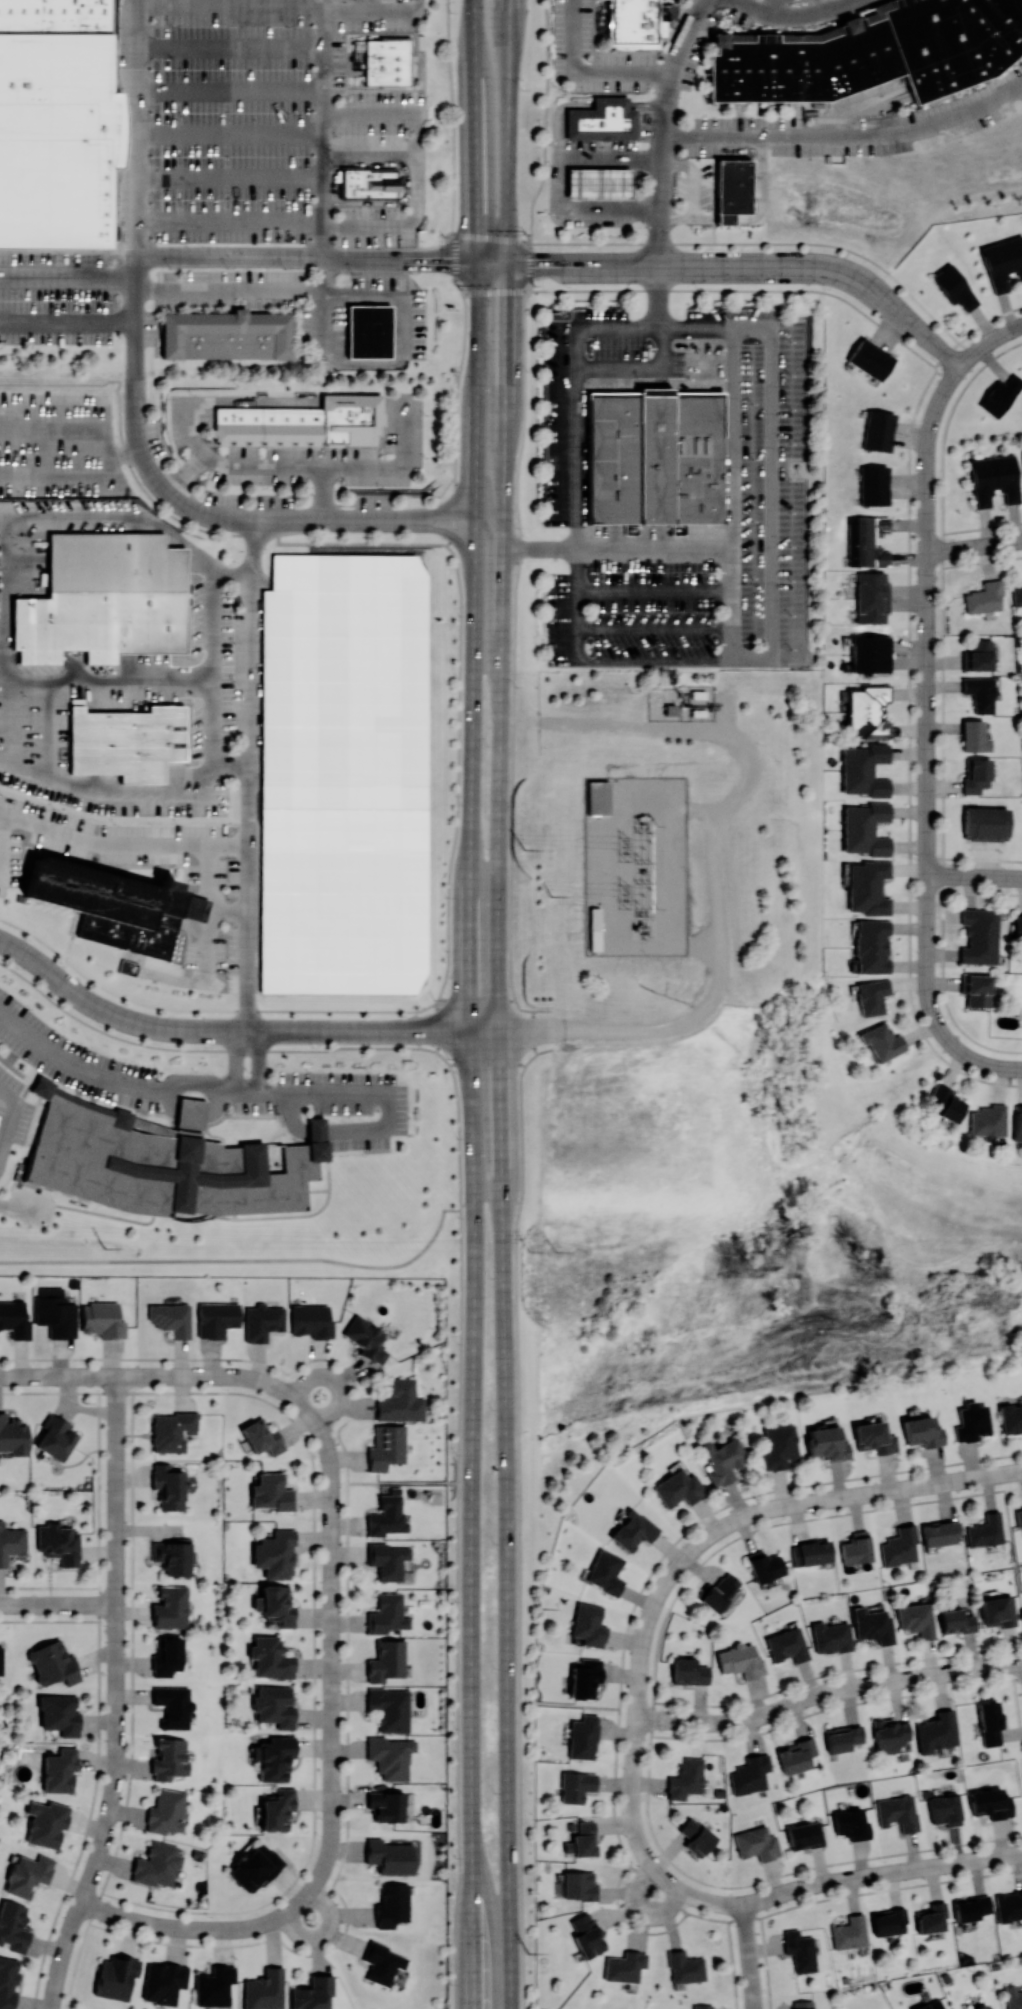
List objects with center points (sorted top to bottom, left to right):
road: (858, 1)
road: (369, 2)
road: (254, 3)
road: (396, 5)
road: (819, 8)
road: (777, 11)
building: (57, 15)
building: (635, 23)
road: (796, 23)
road: (229, 45)
building: (870, 51)
building: (386, 61)
road: (586, 70)
road: (229, 86)
road: (612, 104)
road: (649, 105)
road: (557, 115)
building: (603, 122)
road: (136, 127)
road: (323, 128)
road: (476, 130)
road: (849, 130)
road: (229, 132)
building: (59, 137)
road: (544, 145)
road: (369, 153)
road: (229, 178)
road: (695, 178)
road: (556, 180)
gas station: (599, 180)
building: (579, 181)
building: (368, 182)
building: (738, 186)
road: (754, 219)
road: (376, 220)
road: (660, 224)
road: (556, 241)
road: (306, 257)
traffic signals: (477, 262)
road: (484, 262)
traffic signals: (507, 262)
road: (517, 262)
road: (684, 263)
building: (1000, 263)
road: (455, 269)
road: (68, 275)
road: (850, 276)
building: (954, 287)
road: (592, 289)
road: (388, 291)
road: (67, 321)
road: (768, 327)
building: (371, 329)
road: (918, 329)
building: (231, 336)
road: (990, 342)
building: (870, 358)
building: (1000, 394)
road: (941, 400)
building: (308, 424)
building: (877, 430)
road: (197, 451)
building: (657, 459)
road: (335, 465)
road: (74, 473)
road: (928, 474)
building: (994, 479)
building: (873, 485)
road: (168, 492)
road: (322, 492)
road: (730, 492)
road: (136, 516)
road: (441, 519)
road: (182, 521)
road: (451, 533)
building: (866, 540)
road: (928, 540)
road: (616, 546)
road: (975, 546)
road: (655, 587)
building: (1017, 594)
building: (871, 596)
building: (984, 597)
building: (105, 598)
road: (928, 598)
road: (490, 605)
road: (514, 612)
road: (655, 628)
building: (870, 653)
road: (928, 654)
building: (978, 655)
road: (215, 668)
road: (71, 678)
building: (980, 693)
building: (868, 711)
road: (928, 711)
road: (682, 727)
building: (976, 735)
building: (127, 741)
building: (864, 769)
road: (927, 770)
road: (252, 774)
building: (346, 774)
building: (977, 775)
road: (126, 785)
building: (600, 797)
road: (703, 807)
road: (458, 808)
road: (1, 811)
building: (985, 823)
building: (865, 828)
road: (927, 828)
road: (1, 842)
road: (124, 843)
power tower: (623, 847)
power tower: (524, 848)
road: (975, 858)
power substation: (636, 864)
road: (928, 865)
road: (969, 876)
road: (1016, 878)
road: (203, 887)
building: (868, 887)
road: (213, 892)
road: (975, 892)
power tower: (623, 894)
power tower: (550, 895)
road: (928, 896)
building: (110, 904)
building: (192, 905)
road: (194, 906)
building: (1018, 925)
road: (199, 926)
building: (594, 927)
building: (980, 936)
road: (928, 943)
building: (872, 946)
road: (928, 972)
road: (205, 975)
building: (976, 989)
building: (871, 996)
road: (496, 999)
road: (499, 1004)
road: (930, 1005)
road: (700, 1012)
road: (237, 1030)
road: (529, 1031)
road: (947, 1038)
road: (247, 1039)
building: (882, 1041)
road: (984, 1063)
road: (114, 1076)
road: (246, 1080)
road: (352, 1090)
building: (944, 1103)
road: (290, 1114)
road: (11, 1117)
building: (988, 1120)
building: (1017, 1122)
road: (317, 1131)
road: (473, 1135)
building: (164, 1162)
road: (17, 1209)
park: (739, 1230)
power tower: (105, 1247)
power tower: (529, 1249)
power tower: (556, 1250)
road: (370, 1265)
building: (55, 1312)
building: (15, 1318)
building: (171, 1318)
building: (217, 1318)
building: (102, 1319)
building: (312, 1320)
building: (262, 1321)
building: (367, 1338)
road: (158, 1375)
road: (335, 1380)
building: (400, 1401)
building: (1011, 1418)
building: (972, 1421)
building: (172, 1431)
building: (922, 1431)
building: (13, 1436)
building: (262, 1436)
building: (56, 1437)
building: (874, 1437)
building: (827, 1443)
building: (779, 1445)
building: (387, 1447)
building: (723, 1460)
road: (402, 1482)
building: (169, 1487)
road: (1013, 1487)
building: (679, 1488)
building: (271, 1492)
road: (851, 1492)
building: (388, 1516)
building: (1019, 1516)
building: (633, 1530)
building: (986, 1530)
building: (942, 1533)
road: (518, 1535)
building: (11, 1542)
building: (59, 1543)
building: (900, 1546)
building: (856, 1547)
building: (811, 1552)
building: (275, 1554)
building: (173, 1555)
building: (388, 1560)
building: (764, 1565)
building: (605, 1571)
building: (718, 1591)
road: (58, 1604)
building: (276, 1604)
road: (347, 1604)
building: (171, 1607)
road: (456, 1608)
power tower: (541, 1608)
building: (997, 1611)
building: (387, 1613)
building: (916, 1619)
building: (956, 1620)
building: (588, 1624)
building: (872, 1625)
building: (831, 1636)
building: (787, 1644)
building: (167, 1656)
road: (332, 1657)
building: (270, 1658)
building: (1, 1660)
building: (387, 1660)
building: (740, 1660)
building: (52, 1663)
road: (654, 1669)
road: (835, 1670)
building: (689, 1671)
building: (585, 1677)
road: (870, 1681)
road: (117, 1696)
road: (569, 1704)
building: (274, 1705)
building: (173, 1706)
road: (835, 1706)
building: (391, 1707)
road: (1017, 1712)
building: (59, 1714)
road: (672, 1716)
road: (716, 1719)
building: (989, 1722)
building: (936, 1731)
building: (889, 1734)
building: (583, 1737)
building: (843, 1737)
road: (632, 1751)
road: (616, 1752)
building: (796, 1754)
building: (391, 1756)
building: (274, 1757)
building: (169, 1758)
building: (60, 1770)
building: (750, 1774)
building: (686, 1778)
building: (576, 1785)
building: (991, 1802)
building: (386, 1805)
building: (408, 1806)
building: (277, 1808)
building: (945, 1809)
building: (167, 1811)
building: (898, 1812)
building: (46, 1822)
building: (851, 1823)
building: (804, 1834)
building: (696, 1836)
building: (582, 1840)
building: (756, 1843)
building: (390, 1856)
building: (158, 1865)
building: (255, 1866)
road: (918, 1866)
building: (28, 1874)
road: (804, 1883)
building: (577, 1885)
road: (768, 1893)
building: (392, 1904)
building: (1008, 1905)
building: (970, 1907)
road: (642, 1911)
building: (931, 1917)
building: (888, 1920)
building: (13, 1926)
road: (191, 1928)
building: (850, 1932)
road: (324, 1933)
building: (586, 1934)
road: (748, 1947)
building: (800, 1950)
power tower: (528, 1952)
building: (383, 1962)
road: (765, 1962)
road: (732, 1965)
building: (624, 1966)
building: (685, 1967)
building: (114, 1977)
building: (7, 1981)
building: (164, 1982)
building: (214, 1985)
building: (264, 1990)
building: (312, 1992)
building: (1013, 1997)
road: (753, 2001)
building: (803, 2004)
building: (930, 2005)
building: (703, 2006)
building: (981, 2006)

